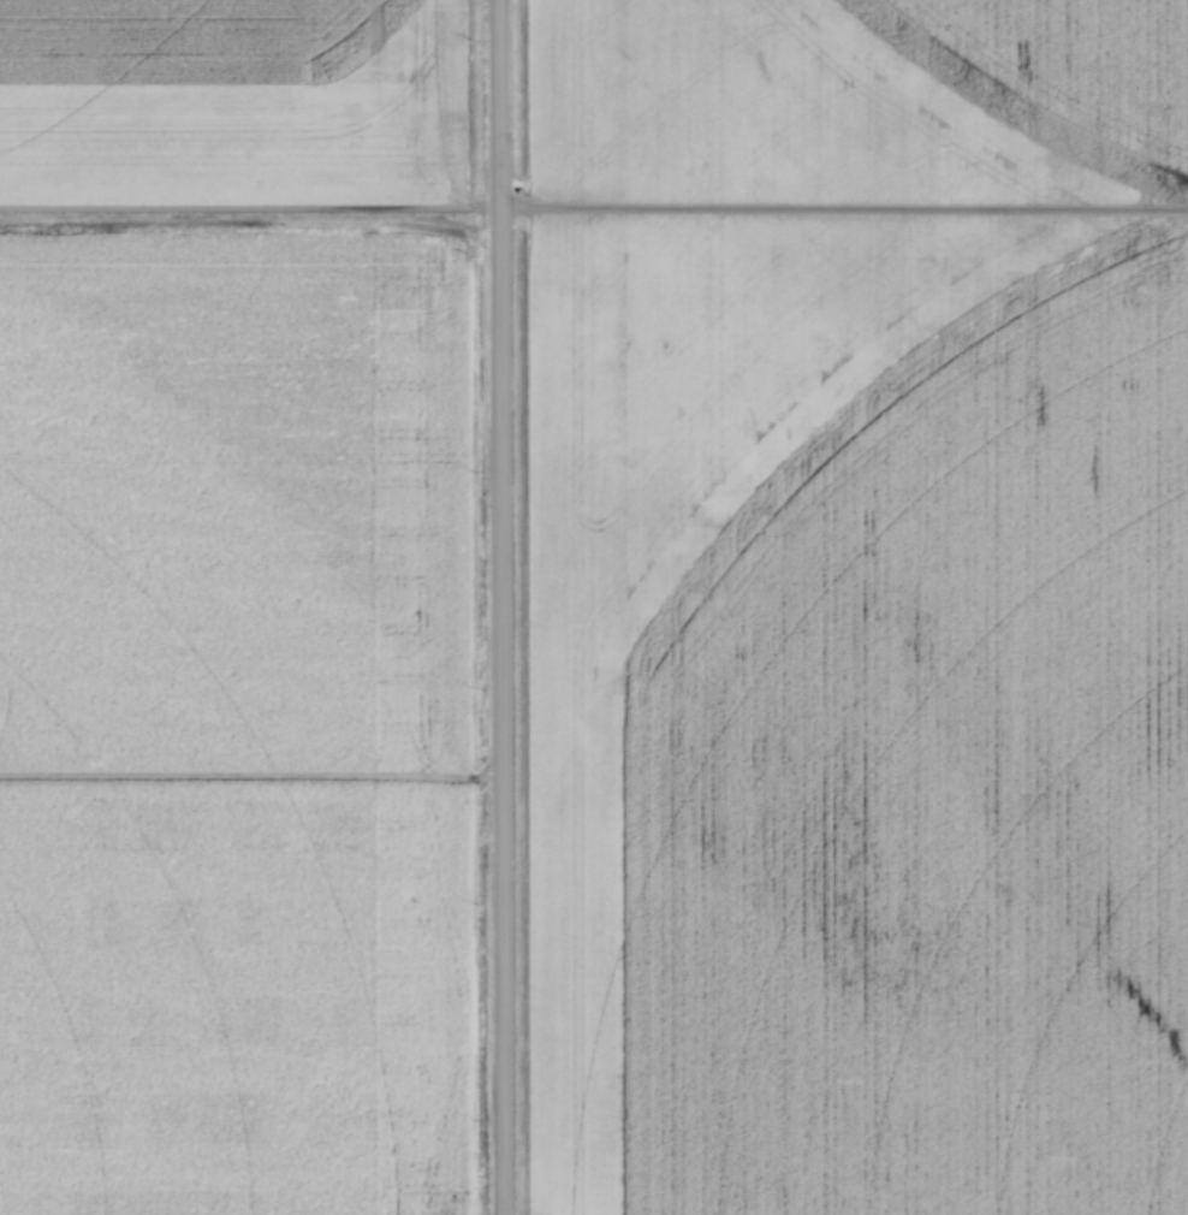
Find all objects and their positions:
road: (497, 607)

